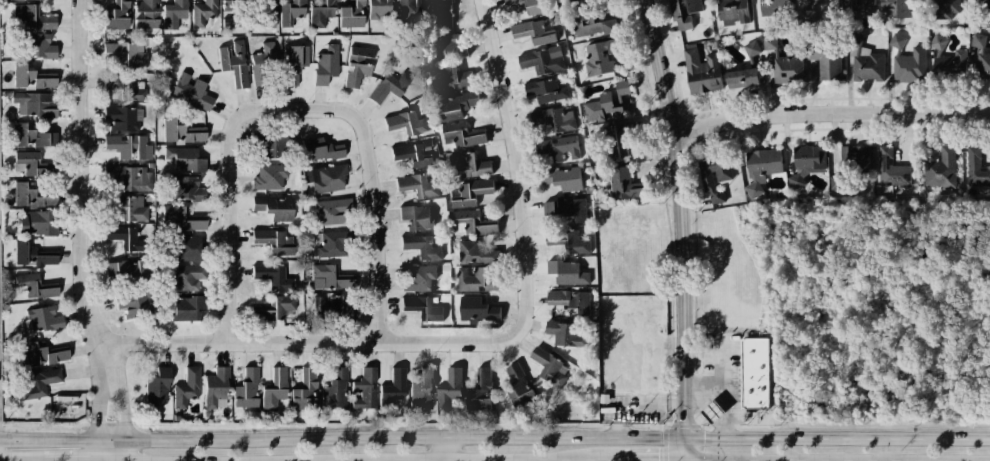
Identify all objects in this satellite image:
building: (981, 2)
building: (885, 5)
building: (530, 6)
building: (857, 6)
building: (774, 7)
building: (902, 8)
building: (943, 8)
building: (377, 9)
building: (410, 9)
building: (808, 10)
building: (201, 11)
building: (229, 11)
building: (290, 11)
building: (440, 11)
building: (732, 11)
building: (321, 12)
building: (116, 13)
building: (146, 13)
building: (267, 13)
building: (173, 14)
building: (351, 14)
building: (681, 17)
building: (31, 18)
building: (589, 19)
building: (536, 30)
building: (36, 46)
building: (449, 46)
building: (127, 53)
building: (604, 53)
building: (981, 54)
building: (825, 58)
building: (946, 58)
building: (263, 59)
building: (542, 59)
building: (233, 60)
building: (750, 60)
building: (907, 60)
building: (865, 61)
building: (784, 63)
building: (294, 64)
building: (325, 64)
building: (357, 65)
building: (701, 70)
building: (32, 76)
building: (452, 76)
building: (124, 85)
building: (387, 87)
building: (548, 88)
building: (190, 90)
building: (606, 102)
building: (34, 104)
building: (458, 104)
road: (298, 107)
road: (830, 113)
building: (121, 117)
building: (554, 118)
building: (405, 119)
building: (179, 131)
building: (468, 135)
building: (34, 136)
building: (615, 139)
building: (266, 143)
building: (125, 145)
building: (559, 146)
building: (318, 149)
building: (414, 153)
building: (853, 157)
building: (185, 159)
building: (804, 162)
building: (27, 163)
building: (469, 165)
building: (760, 167)
building: (891, 168)
building: (975, 168)
building: (940, 169)
road: (86, 171)
building: (129, 176)
building: (713, 176)
building: (267, 177)
building: (326, 177)
building: (564, 178)
building: (834, 182)
building: (623, 184)
building: (417, 185)
building: (186, 188)
building: (472, 190)
building: (28, 195)
road: (526, 199)
building: (125, 207)
building: (274, 207)
building: (569, 209)
building: (330, 210)
building: (417, 217)
building: (182, 218)
building: (32, 222)
building: (475, 222)
road: (682, 229)
building: (273, 239)
building: (127, 240)
building: (568, 241)
building: (327, 244)
road: (382, 245)
building: (187, 246)
building: (421, 247)
road: (236, 249)
building: (475, 251)
building: (31, 252)
building: (131, 270)
building: (568, 272)
building: (274, 274)
building: (329, 276)
building: (422, 277)
building: (186, 279)
building: (477, 279)
building: (35, 284)
building: (574, 302)
building: (140, 304)
building: (423, 307)
building: (273, 309)
building: (331, 309)
building: (186, 310)
building: (478, 311)
building: (42, 318)
building: (567, 332)
road: (313, 340)
building: (39, 352)
road: (716, 364)
building: (551, 367)
building: (752, 372)
building: (38, 382)
building: (185, 385)
building: (156, 386)
building: (215, 387)
building: (335, 387)
building: (393, 387)
building: (245, 388)
building: (273, 388)
building: (304, 388)
building: (364, 388)
building: (451, 388)
building: (517, 388)
road: (119, 389)
road: (99, 390)
building: (482, 390)
building: (422, 392)
road: (720, 394)
building: (70, 402)
road: (636, 408)
building: (710, 412)
traffic signals: (685, 419)
road: (663, 425)
traffic signals: (704, 437)
road: (837, 437)
road: (342, 439)
road: (99, 451)
road: (126, 451)
traffic signals: (658, 460)
road: (671, 460)

